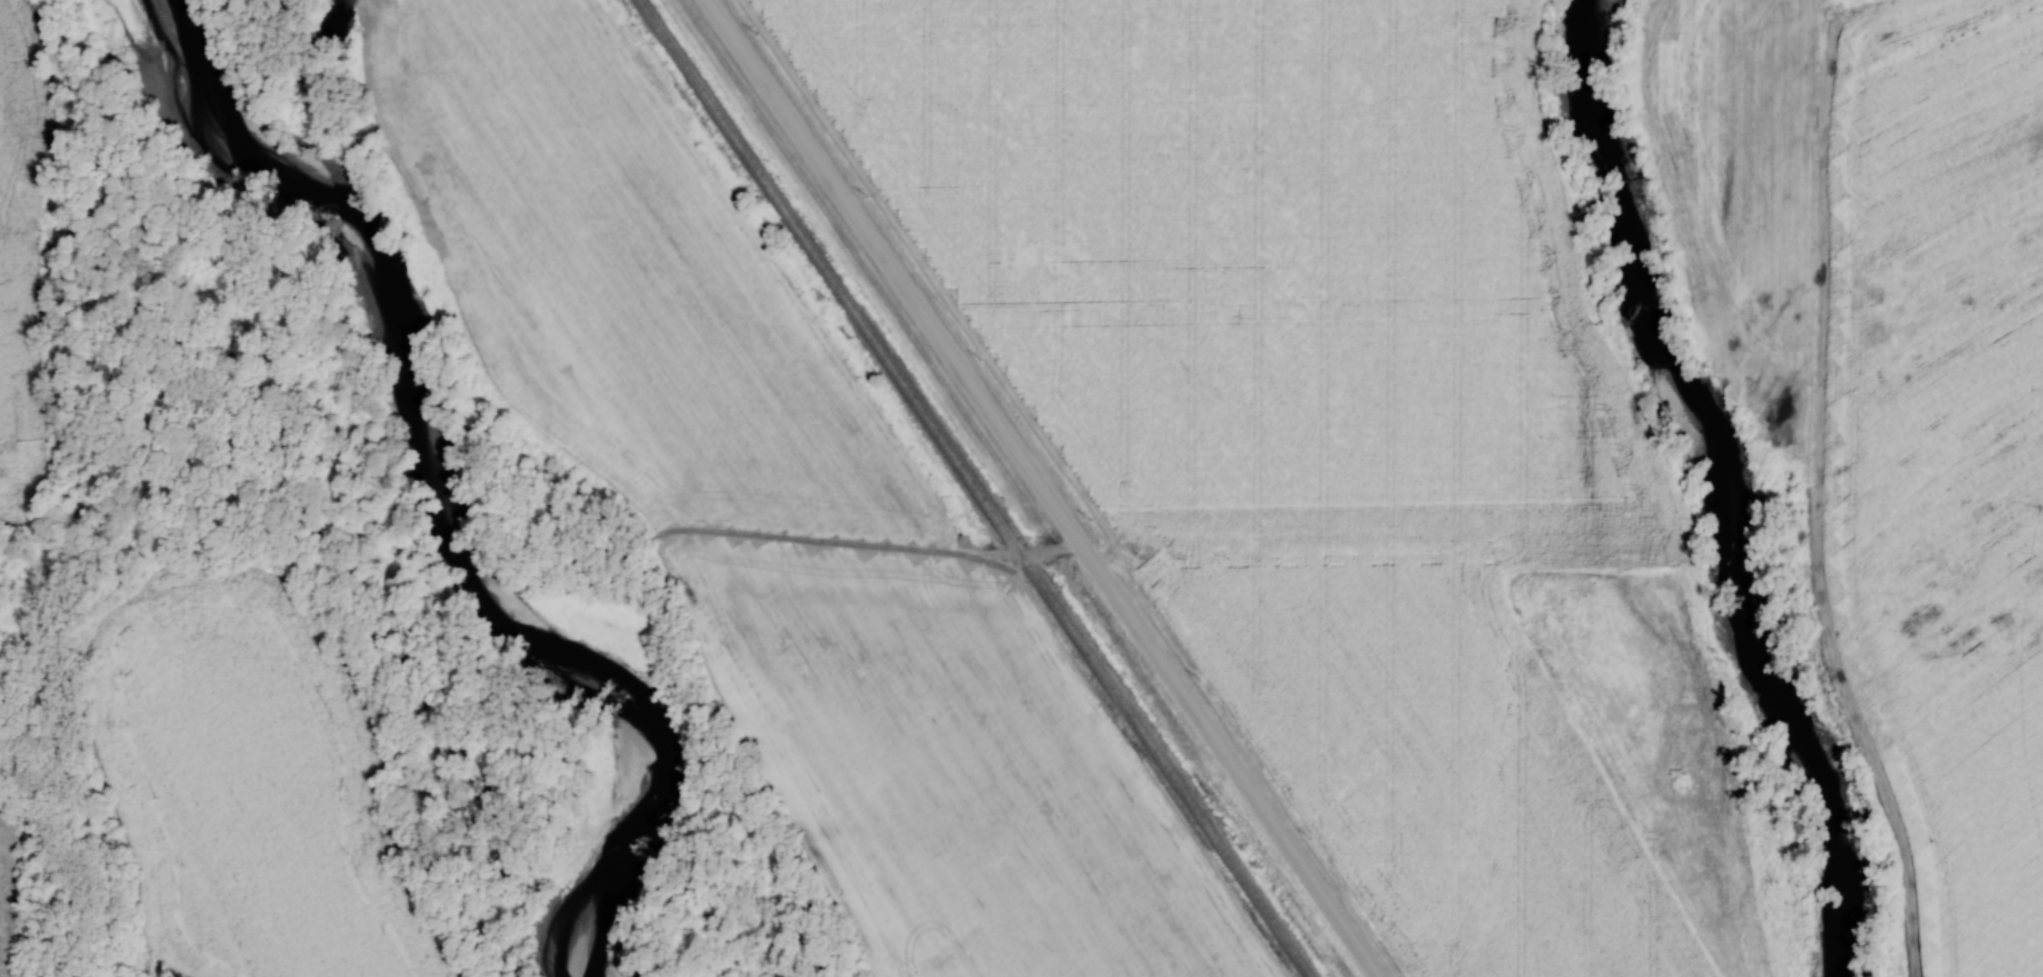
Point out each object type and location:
road: (1045, 487)
railway: (970, 488)
road: (1910, 915)

